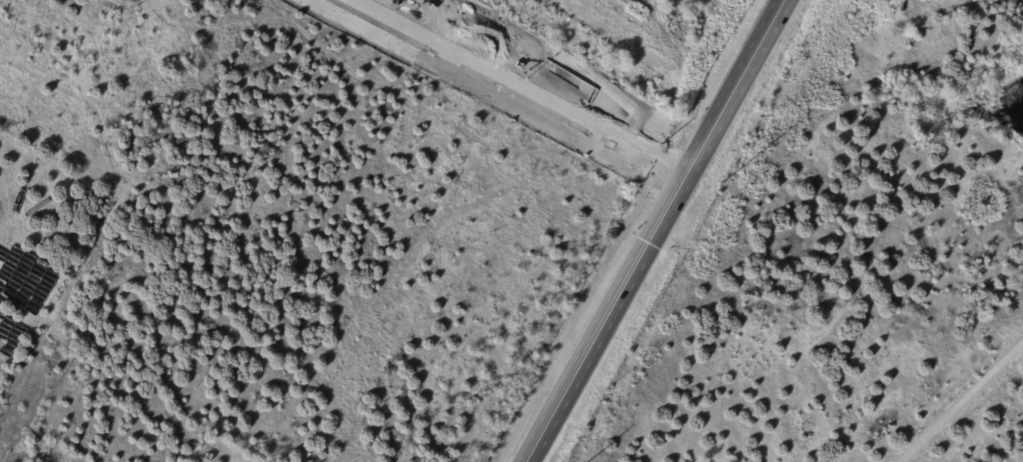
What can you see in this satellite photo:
park: (629, 37)
road: (581, 70)
road: (651, 231)
road: (960, 400)
building: (207, 457)

